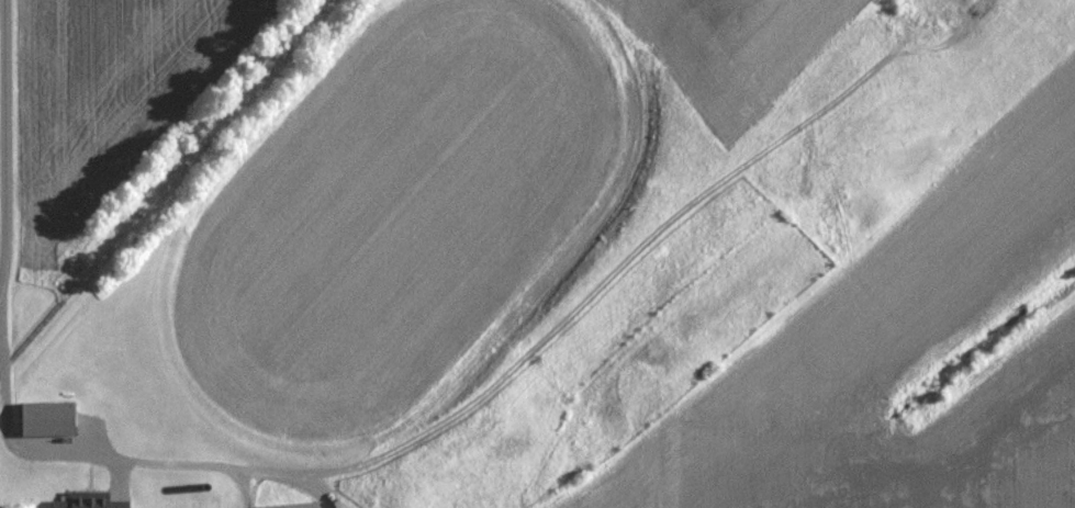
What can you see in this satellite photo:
road: (4, 144)
road: (0, 289)
building: (47, 416)
road: (27, 449)
building: (91, 503)
building: (293, 505)

